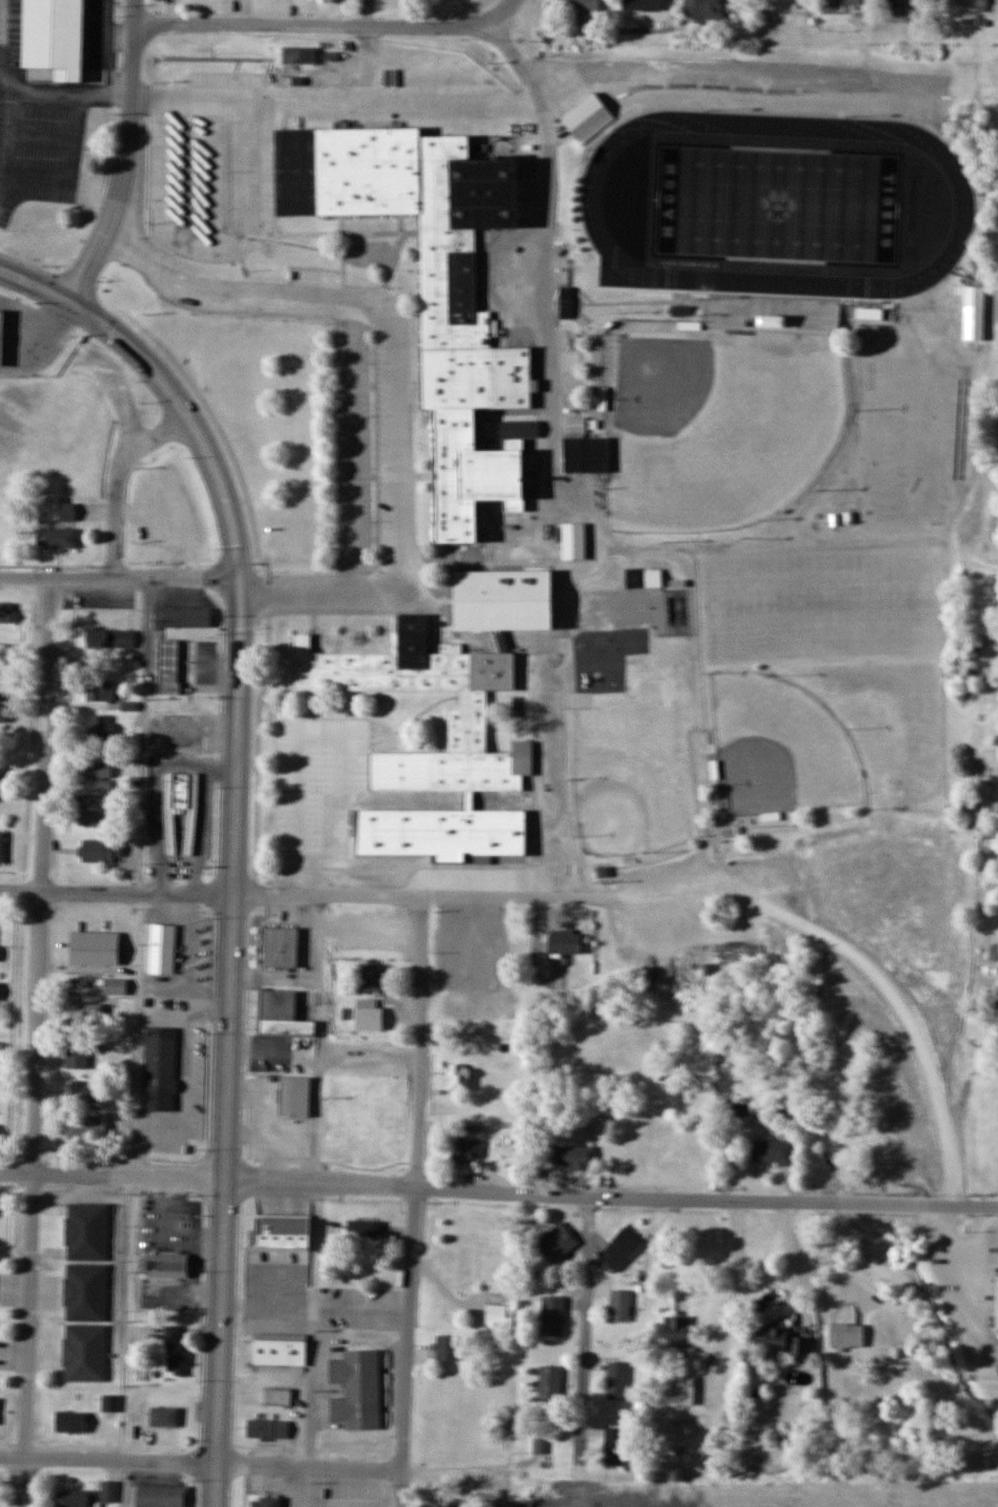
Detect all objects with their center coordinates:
building: (641, 0)
building: (840, 2)
building: (972, 2)
building: (907, 3)
building: (579, 6)
building: (707, 9)
road: (326, 23)
building: (57, 36)
road: (65, 97)
building: (588, 117)
road: (128, 154)
park: (779, 208)
building: (432, 284)
building: (975, 295)
traffic signals: (77, 300)
building: (566, 302)
building: (869, 314)
building: (5, 326)
road: (549, 355)
road: (395, 384)
park: (714, 418)
building: (577, 424)
building: (488, 429)
building: (521, 429)
building: (589, 454)
building: (67, 510)
building: (56, 537)
building: (574, 540)
traffic signals: (238, 578)
road: (119, 580)
building: (512, 605)
building: (6, 612)
building: (188, 617)
building: (111, 637)
building: (7, 653)
building: (170, 666)
building: (100, 690)
building: (2, 706)
building: (129, 706)
building: (103, 730)
building: (183, 730)
park: (773, 746)
building: (3, 772)
building: (99, 774)
building: (92, 809)
building: (180, 814)
building: (430, 828)
building: (731, 831)
road: (233, 833)
building: (2, 846)
building: (101, 851)
road: (340, 897)
building: (94, 932)
building: (374, 933)
building: (565, 941)
building: (470, 942)
building: (280, 946)
building: (97, 949)
building: (165, 949)
building: (375, 974)
building: (1, 992)
building: (110, 1000)
building: (280, 1012)
building: (383, 1016)
road: (36, 1044)
building: (0, 1051)
building: (81, 1052)
building: (159, 1067)
building: (460, 1076)
building: (85, 1091)
building: (295, 1095)
building: (91, 1126)
building: (466, 1149)
building: (772, 1151)
building: (571, 1157)
road: (498, 1193)
road: (414, 1202)
building: (363, 1230)
building: (282, 1231)
building: (557, 1241)
building: (620, 1249)
building: (73, 1257)
building: (166, 1265)
building: (997, 1303)
building: (620, 1305)
building: (495, 1310)
building: (553, 1315)
road: (586, 1319)
building: (675, 1332)
building: (847, 1337)
building: (781, 1342)
building: (448, 1348)
building: (175, 1351)
building: (85, 1352)
building: (617, 1381)
building: (550, 1384)
building: (683, 1390)
building: (277, 1397)
building: (110, 1403)
building: (0, 1404)
building: (164, 1417)
building: (71, 1422)
building: (267, 1429)
building: (356, 1430)
building: (539, 1445)
building: (614, 1446)
road: (250, 1466)
building: (109, 1491)
building: (162, 1495)
building: (75, 1498)
building: (257, 1499)
building: (441, 1502)
building: (500, 1503)

